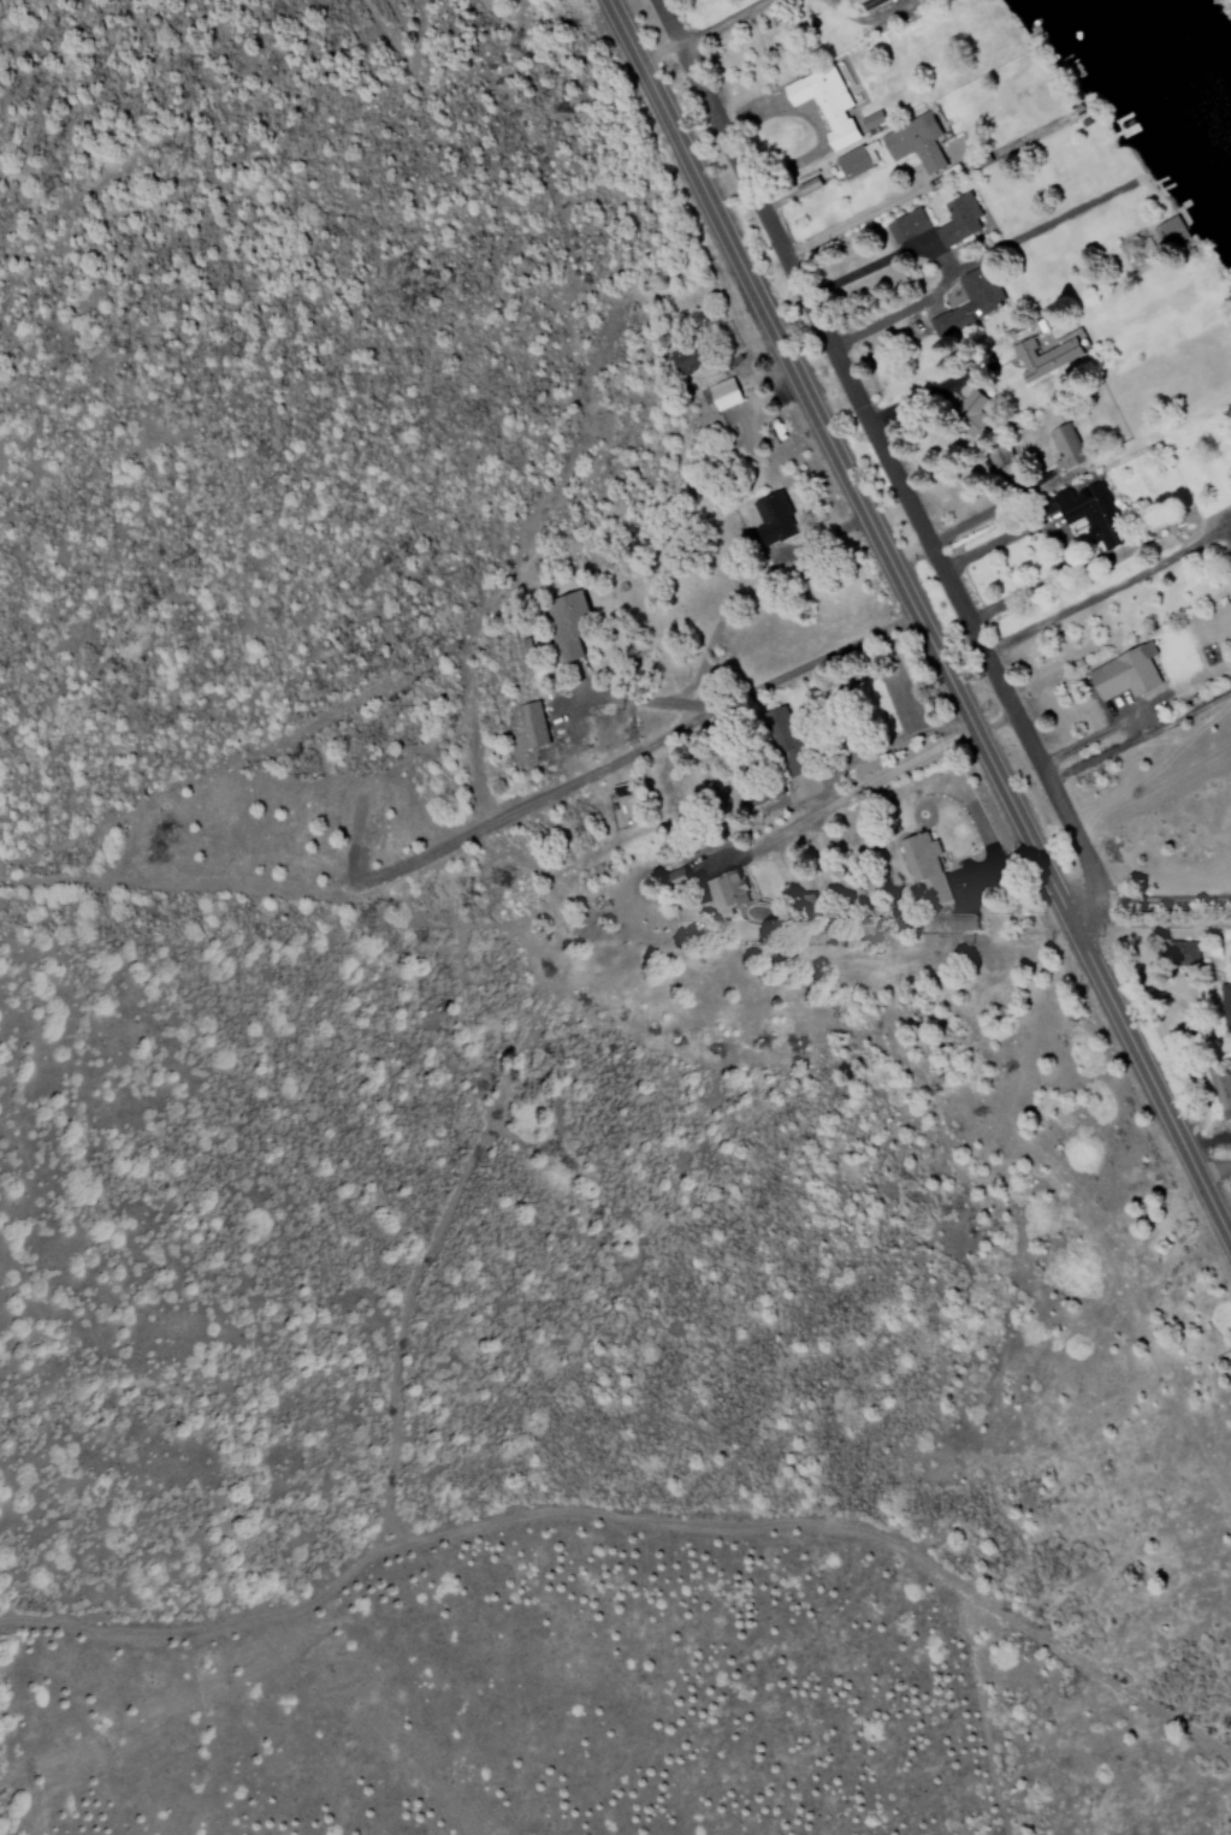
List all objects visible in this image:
building: (865, 4)
river: (1171, 79)
building: (823, 103)
building: (911, 144)
building: (853, 162)
building: (957, 220)
building: (905, 226)
building: (1167, 231)
building: (966, 303)
building: (1038, 355)
building: (726, 391)
building: (969, 404)
building: (1064, 446)
building: (999, 456)
road: (886, 462)
building: (1088, 513)
building: (771, 517)
building: (1230, 557)
road: (917, 622)
building: (567, 625)
building: (1123, 673)
building: (531, 724)
building: (785, 740)
building: (923, 866)
building: (724, 893)
building: (959, 922)
building: (1183, 952)
road: (550, 979)
building: (1225, 1010)
building: (1219, 1089)
road: (635, 1522)
road: (1206, 1807)

